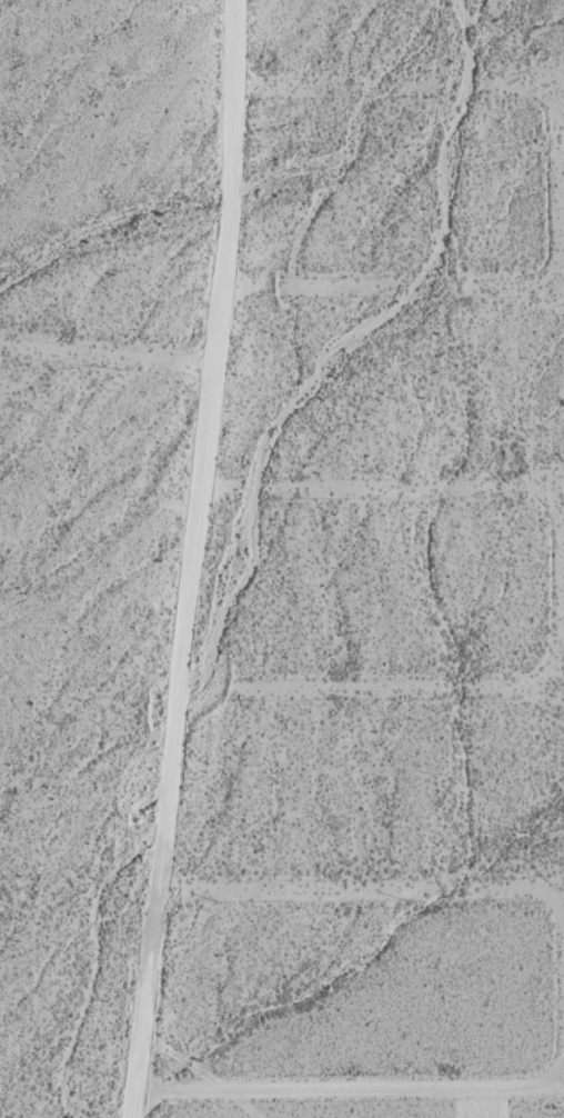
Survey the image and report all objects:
road: (510, 191)
road: (104, 349)
road: (423, 485)
road: (185, 559)
road: (395, 686)
road: (563, 999)

